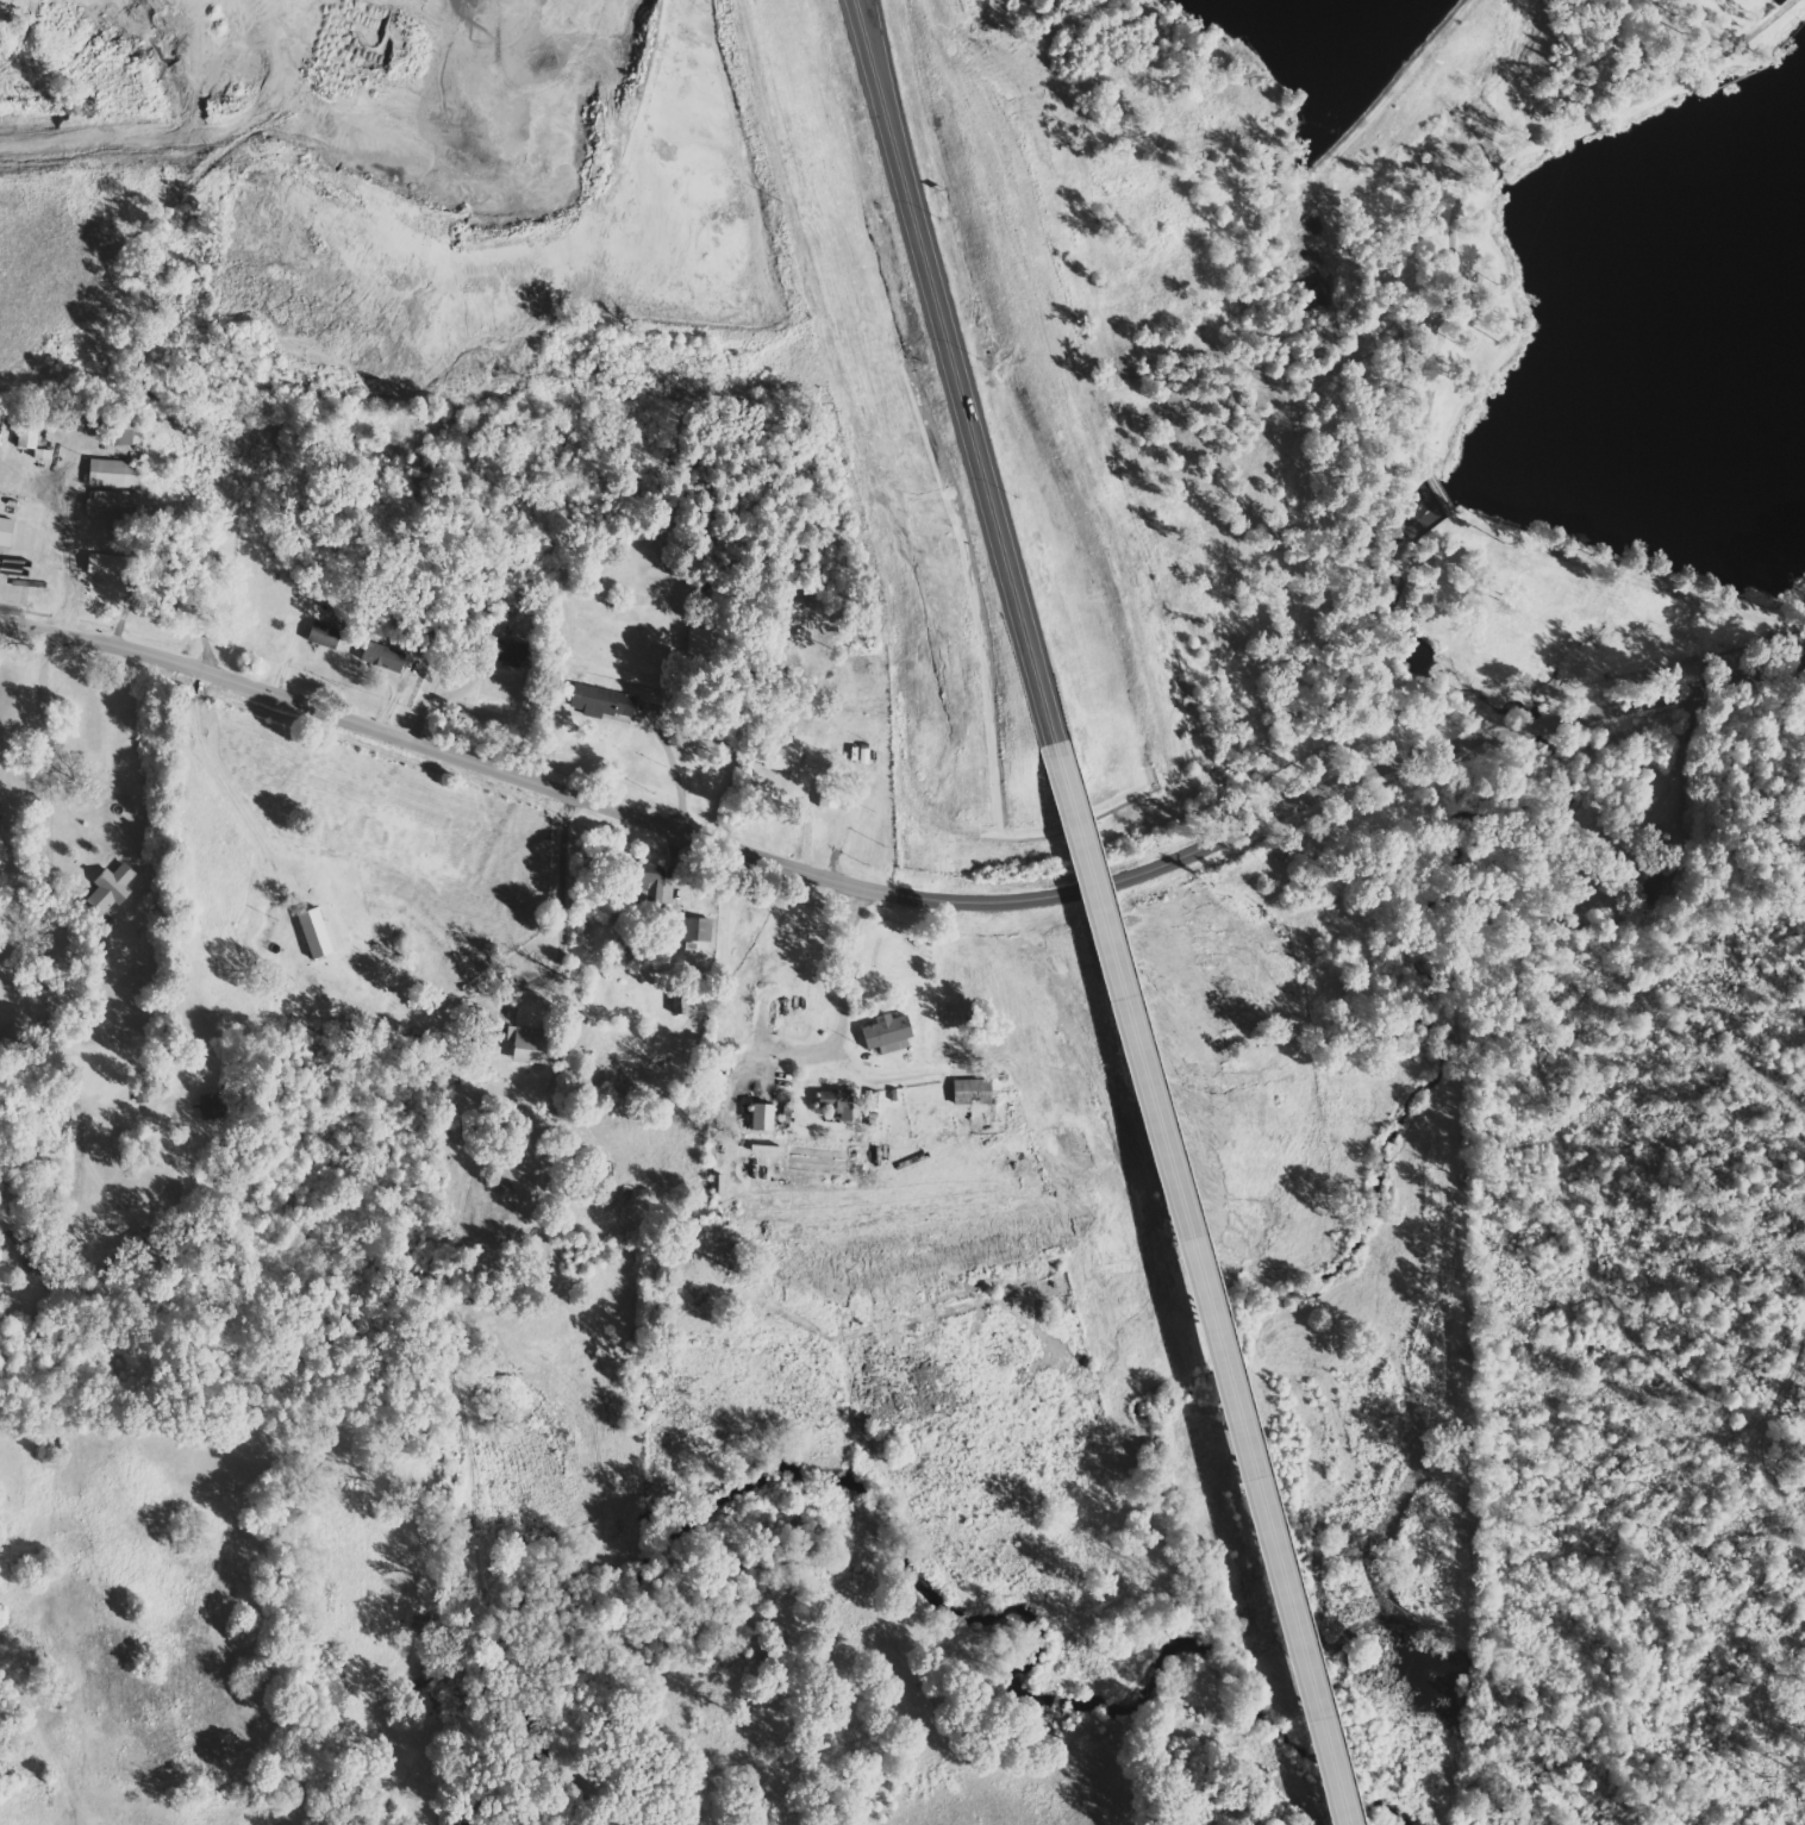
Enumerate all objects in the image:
road: (875, 83)
road: (883, 83)
road: (976, 456)
building: (112, 474)
building: (112, 505)
building: (5, 532)
building: (98, 567)
building: (323, 633)
building: (504, 650)
building: (382, 656)
building: (602, 701)
road: (50, 757)
building: (780, 757)
building: (0, 851)
building: (105, 892)
road: (901, 899)
building: (314, 933)
building: (694, 933)
road: (842, 999)
building: (885, 1033)
building: (526, 1046)
building: (967, 1086)
building: (833, 1102)
building: (211, 1105)
building: (760, 1117)
road: (1201, 1285)

